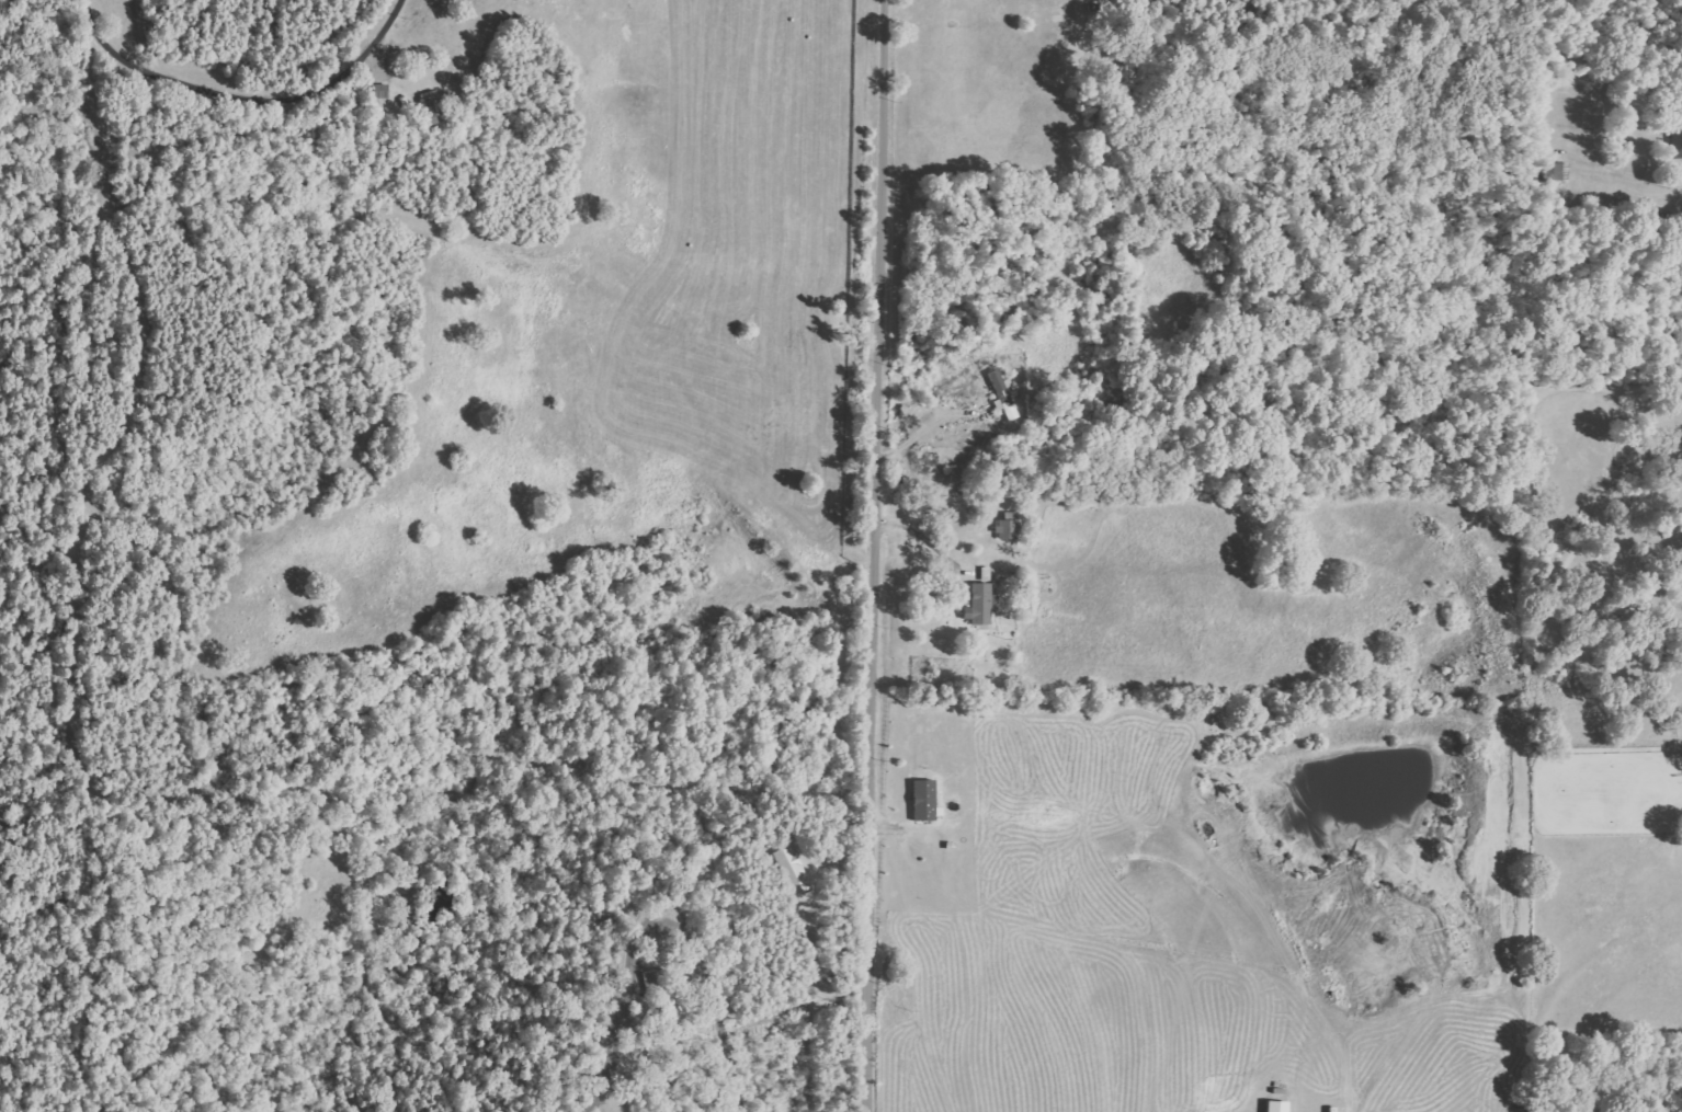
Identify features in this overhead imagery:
building: (433, 105)
building: (1678, 141)
building: (1004, 394)
building: (958, 473)
building: (1010, 527)
road: (876, 555)
building: (982, 606)
building: (927, 801)
building: (794, 869)
road: (658, 916)
building: (663, 991)
building: (1280, 1105)

